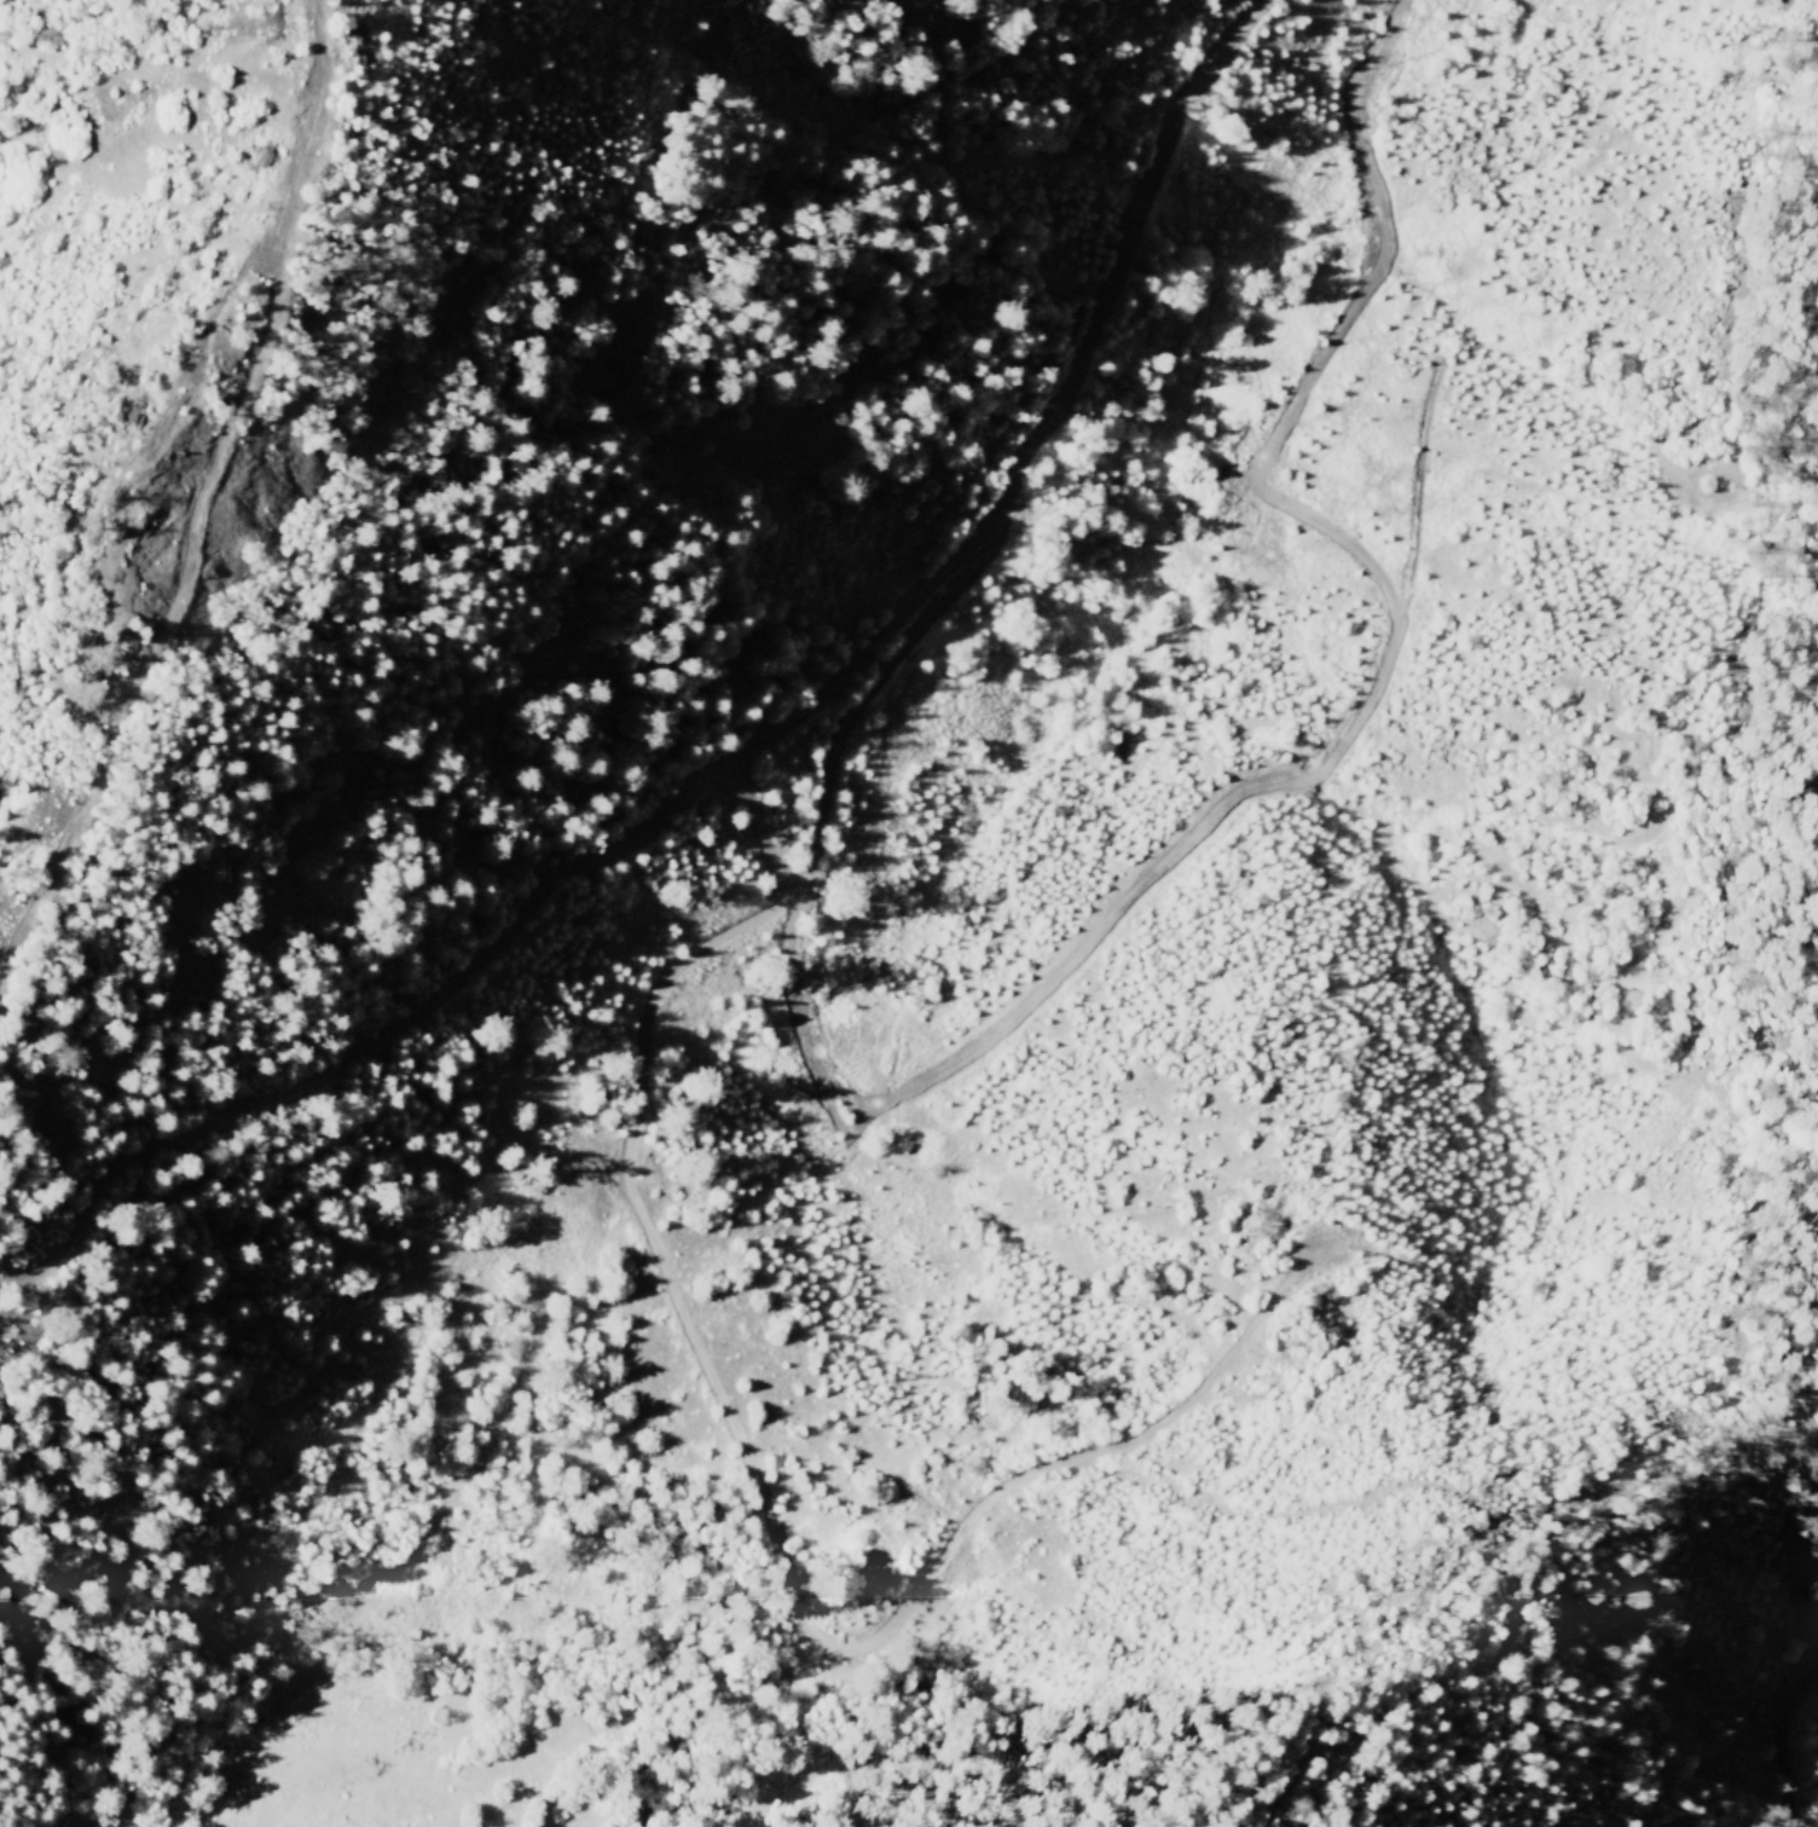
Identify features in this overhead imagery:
road: (1777, 1745)

